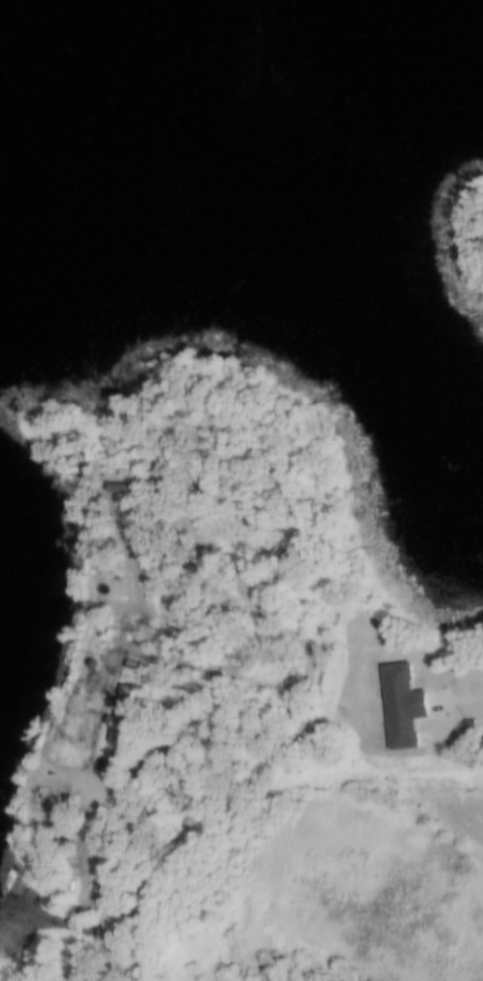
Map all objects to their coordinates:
road: (480, 692)

